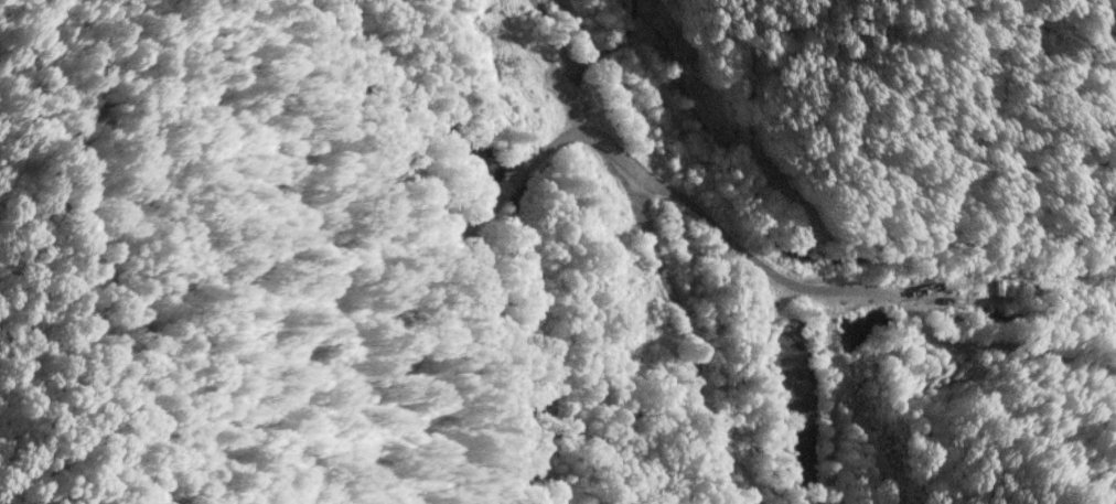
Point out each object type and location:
road: (450, 230)
building: (997, 288)

